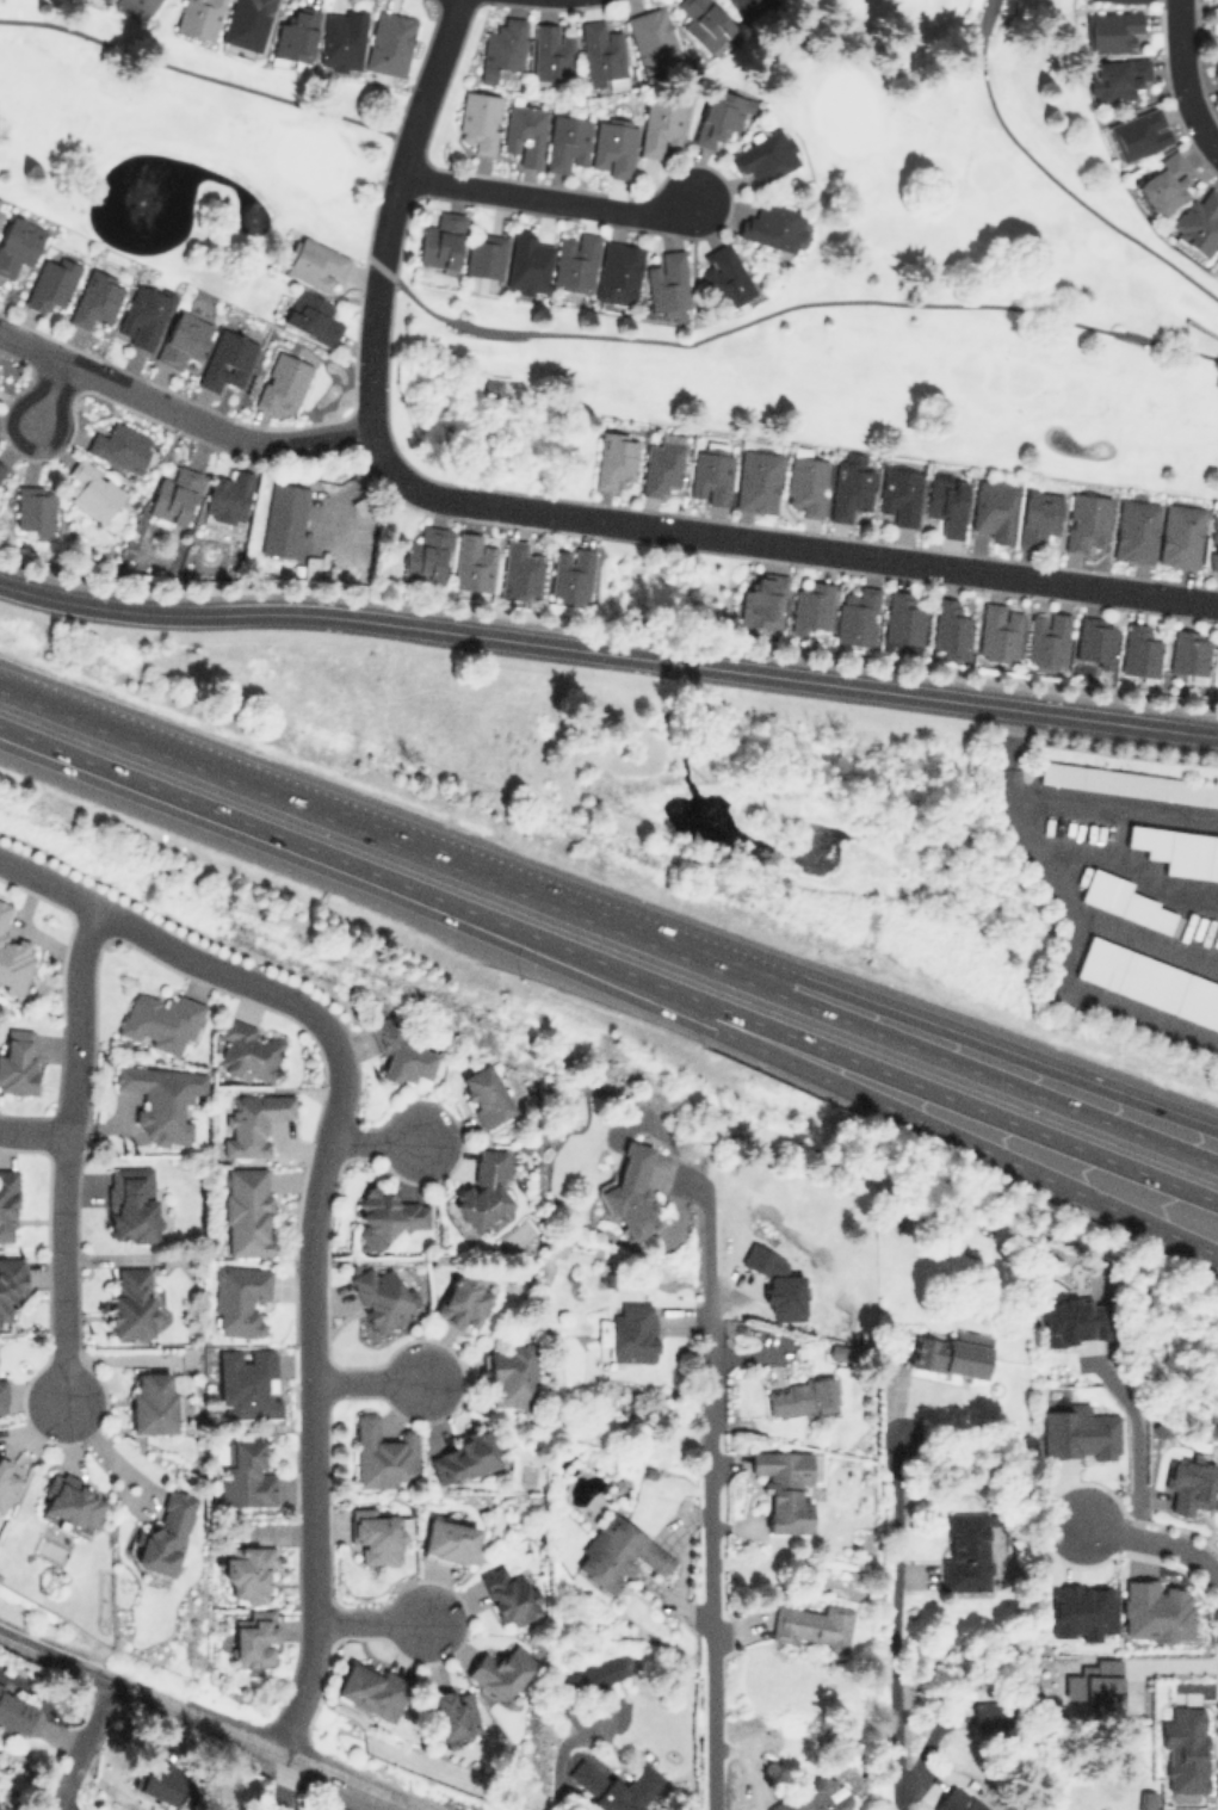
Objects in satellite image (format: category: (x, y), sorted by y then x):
building: (105, 0)
building: (1124, 0)
building: (144, 5)
building: (747, 7)
building: (199, 17)
building: (247, 23)
building: (704, 23)
building: (1111, 30)
building: (295, 38)
building: (341, 38)
building: (653, 39)
building: (389, 43)
building: (502, 49)
building: (551, 52)
building: (601, 55)
building: (1216, 72)
road: (205, 73)
building: (1119, 78)
road: (1183, 80)
building: (719, 115)
building: (478, 119)
building: (661, 126)
building: (525, 131)
building: (1138, 132)
building: (567, 142)
park: (183, 143)
building: (613, 144)
building: (765, 155)
road: (1053, 177)
building: (1166, 181)
road: (549, 196)
fountain: (140, 200)
road: (390, 209)
building: (0, 214)
building: (1197, 223)
building: (774, 226)
building: (440, 241)
building: (18, 243)
building: (483, 255)
building: (576, 261)
building: (314, 262)
building: (528, 262)
building: (619, 272)
building: (724, 276)
building: (668, 280)
building: (52, 283)
park: (873, 284)
building: (97, 298)
road: (787, 305)
building: (144, 315)
building: (311, 316)
building: (183, 339)
building: (227, 359)
building: (283, 383)
building: (493, 385)
road: (52, 390)
fountain: (1056, 435)
building: (120, 446)
building: (614, 458)
building: (661, 464)
building: (1, 469)
building: (711, 474)
building: (758, 480)
building: (806, 483)
building: (92, 489)
building: (849, 490)
building: (899, 494)
building: (174, 495)
building: (228, 496)
building: (946, 505)
building: (35, 507)
building: (994, 508)
road: (582, 517)
building: (1038, 517)
building: (283, 519)
building: (1086, 520)
building: (1134, 530)
building: (1180, 533)
building: (1213, 537)
building: (426, 555)
building: (472, 562)
building: (309, 567)
building: (519, 572)
building: (570, 574)
building: (761, 600)
building: (811, 605)
building: (857, 616)
building: (903, 623)
building: (950, 629)
building: (998, 631)
road: (505, 637)
building: (1045, 638)
building: (1094, 640)
building: (1139, 650)
building: (1188, 651)
road: (1114, 721)
building: (1129, 782)
road: (285, 796)
road: (1114, 802)
road: (276, 834)
building: (1177, 850)
road: (1124, 867)
building: (1124, 900)
road: (1086, 921)
road: (687, 940)
road: (734, 943)
road: (1152, 945)
road: (175, 955)
building: (12, 956)
building: (1149, 981)
building: (160, 1020)
road: (894, 1038)
building: (248, 1050)
road: (1009, 1050)
building: (400, 1055)
building: (18, 1061)
road: (885, 1070)
building: (484, 1094)
building: (161, 1100)
road: (882, 1102)
building: (252, 1123)
road: (32, 1133)
road: (370, 1143)
road: (66, 1154)
building: (630, 1188)
building: (483, 1192)
building: (131, 1203)
building: (7, 1205)
building: (247, 1210)
building: (384, 1216)
building: (775, 1281)
building: (11, 1283)
building: (381, 1297)
building: (240, 1298)
building: (463, 1299)
building: (131, 1303)
building: (1074, 1320)
building: (633, 1332)
building: (952, 1353)
building: (511, 1373)
road: (363, 1384)
building: (2, 1396)
building: (799, 1396)
building: (152, 1402)
road: (305, 1406)
building: (1078, 1432)
road: (1136, 1443)
road: (106, 1450)
building: (381, 1453)
building: (463, 1457)
building: (246, 1474)
building: (4, 1478)
building: (1192, 1484)
building: (786, 1485)
building: (73, 1502)
road: (713, 1511)
building: (165, 1534)
building: (376, 1534)
building: (450, 1540)
road: (1155, 1540)
building: (966, 1551)
building: (618, 1552)
building: (248, 1569)
building: (509, 1594)
building: (1078, 1610)
building: (1154, 1611)
road: (365, 1625)
building: (812, 1625)
road: (899, 1625)
building: (254, 1638)
building: (501, 1670)
building: (601, 1672)
building: (371, 1689)
building: (16, 1711)
building: (453, 1713)
road: (205, 1718)
road: (85, 1744)
building: (1185, 1749)
building: (586, 1775)
building: (163, 1780)
building: (627, 1790)
building: (811, 1796)
building: (959, 1799)
building: (1148, 1799)

